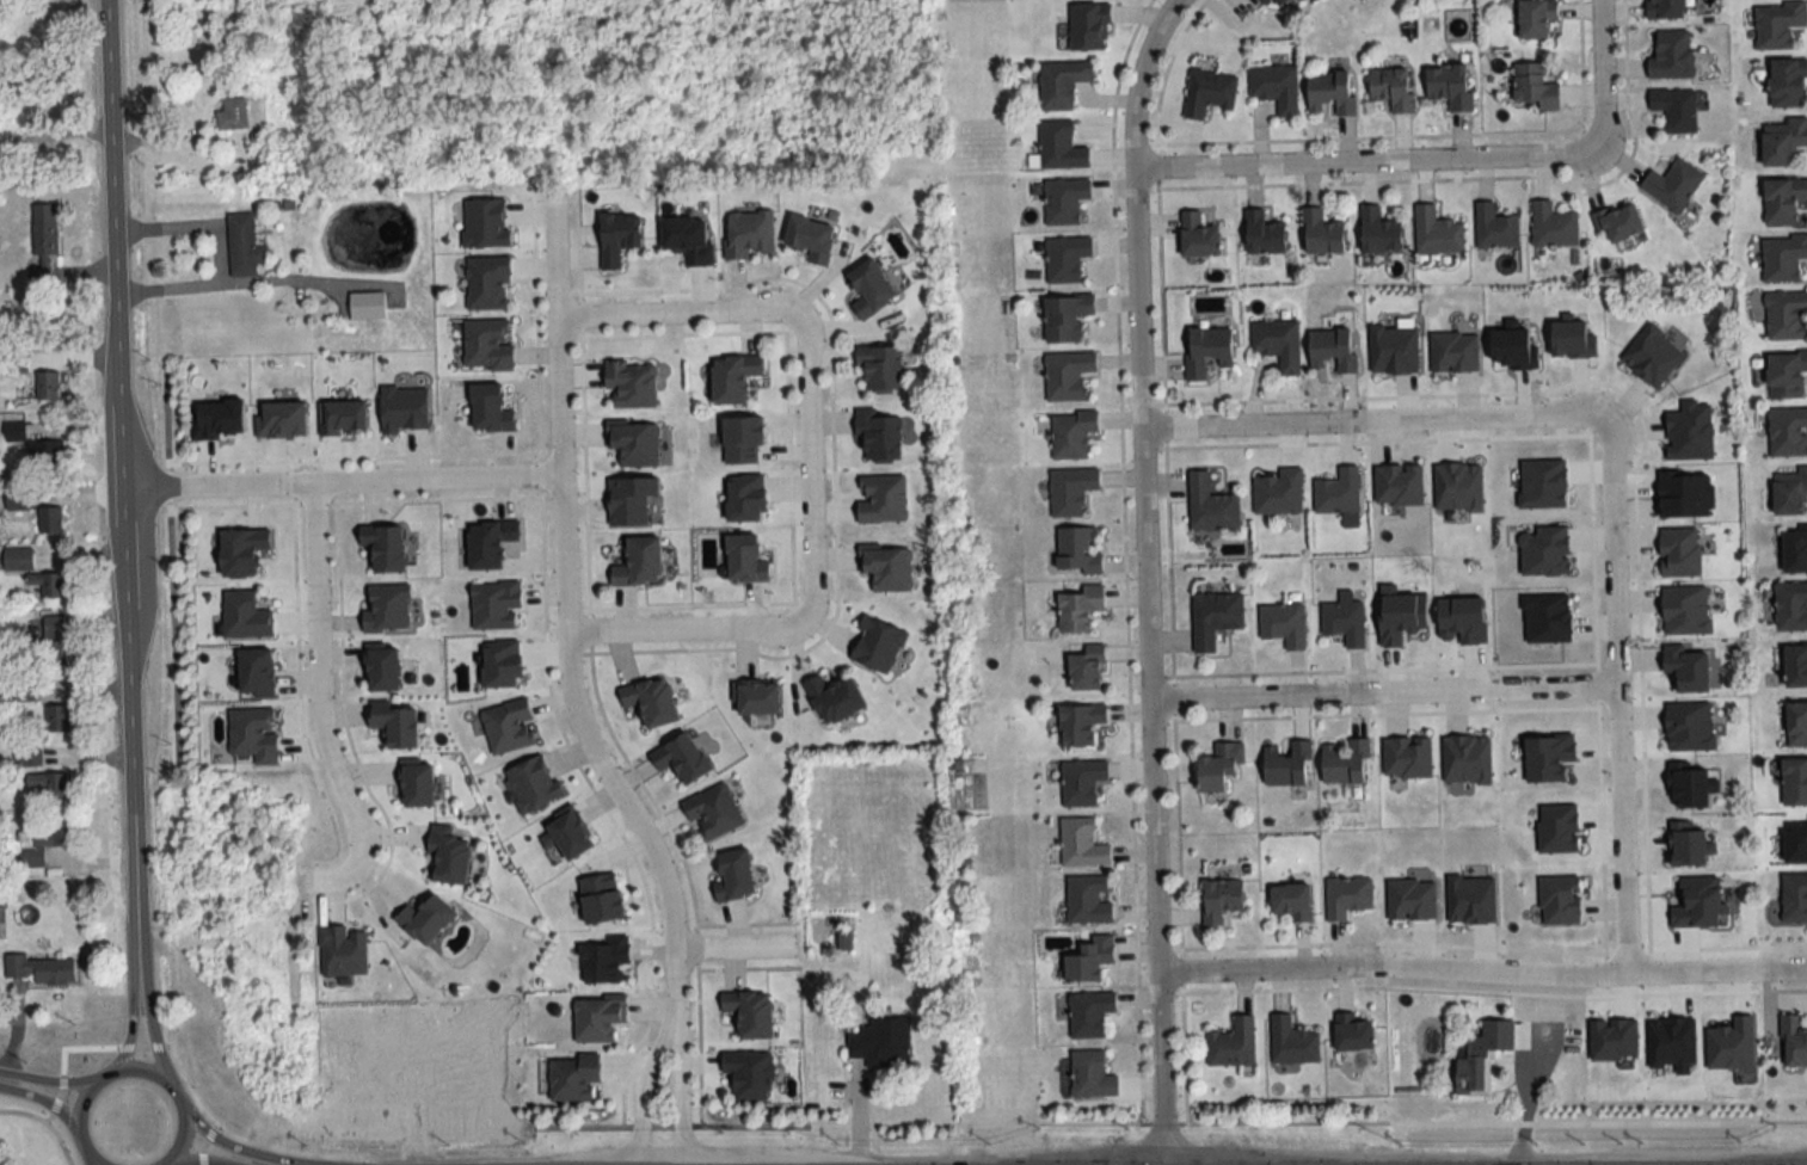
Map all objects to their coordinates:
building: (1265, 1)
building: (1279, 1)
building: (1665, 10)
building: (1536, 18)
building: (1777, 24)
building: (1087, 26)
building: (1672, 55)
road: (1600, 70)
building: (228, 80)
building: (1062, 82)
building: (1787, 84)
building: (1276, 86)
building: (1451, 86)
building: (1534, 86)
building: (1393, 87)
building: (1207, 92)
building: (1330, 92)
building: (1676, 109)
building: (232, 113)
building: (1784, 141)
building: (1061, 146)
road: (1366, 162)
building: (1673, 185)
building: (1783, 199)
building: (1064, 201)
building: (1619, 222)
building: (1553, 226)
building: (1494, 228)
building: (43, 230)
building: (1378, 232)
building: (1321, 233)
building: (1436, 233)
building: (749, 234)
building: (1264, 234)
building: (617, 236)
building: (1198, 236)
building: (688, 239)
building: (811, 239)
building: (246, 245)
road: (222, 253)
building: (1783, 258)
building: (1065, 259)
building: (41, 275)
building: (487, 283)
building: (871, 289)
building: (367, 306)
road: (680, 313)
building: (1786, 315)
building: (1065, 319)
building: (1278, 344)
building: (1333, 349)
building: (1206, 352)
building: (881, 368)
building: (1067, 376)
building: (1787, 376)
building: (733, 378)
building: (47, 386)
building: (631, 386)
building: (490, 409)
road: (1373, 417)
building: (1788, 432)
building: (879, 433)
building: (1071, 434)
road: (811, 473)
road: (119, 476)
road: (340, 482)
building: (1070, 492)
building: (1338, 492)
building: (1279, 493)
building: (1790, 493)
building: (881, 499)
building: (1210, 506)
building: (49, 519)
building: (488, 543)
building: (1795, 549)
building: (1077, 550)
building: (16, 559)
building: (744, 560)
building: (639, 563)
building: (887, 569)
road: (1145, 577)
building: (48, 585)
building: (1790, 606)
building: (1078, 609)
road: (567, 616)
building: (1215, 618)
building: (1344, 622)
building: (1283, 624)
road: (684, 629)
building: (53, 639)
building: (1796, 667)
building: (1087, 670)
road: (1615, 688)
road: (1382, 691)
building: (834, 699)
building: (650, 701)
road: (319, 702)
building: (57, 720)
building: (1796, 725)
building: (1080, 726)
building: (508, 727)
building: (1346, 763)
building: (1287, 766)
building: (1219, 769)
building: (1081, 782)
building: (1794, 782)
building: (45, 785)
building: (713, 812)
building: (1795, 843)
building: (41, 844)
building: (1082, 844)
building: (447, 857)
building: (735, 877)
building: (1346, 898)
building: (1794, 899)
building: (1088, 900)
building: (1221, 901)
building: (1292, 902)
building: (430, 921)
road: (729, 947)
building: (604, 960)
building: (1089, 961)
road: (1482, 967)
building: (39, 970)
road: (130, 1013)
building: (750, 1015)
building: (1089, 1015)
road: (150, 1017)
building: (597, 1019)
building: (1353, 1034)
building: (1292, 1042)
building: (1794, 1042)
building: (881, 1044)
building: (1233, 1044)
building: (1481, 1058)
road: (62, 1061)
road: (130, 1070)
building: (749, 1075)
building: (1090, 1077)
building: (573, 1079)
road: (47, 1080)
road: (640, 1085)
road: (681, 1089)
road: (37, 1098)
road: (1788, 1122)
road: (1212, 1123)
road: (669, 1127)
road: (229, 1146)
road: (203, 1164)

